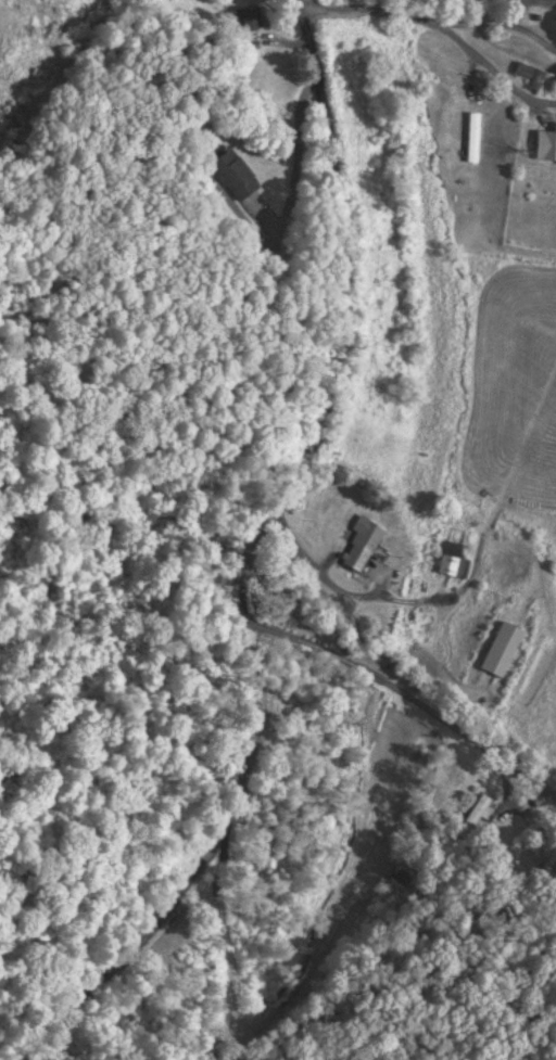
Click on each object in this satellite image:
road: (522, 1)
road: (430, 16)
building: (253, 18)
road: (480, 61)
building: (532, 76)
building: (475, 138)
building: (546, 145)
road: (295, 162)
building: (237, 176)
building: (364, 544)
road: (245, 553)
building: (454, 562)
road: (316, 563)
building: (504, 651)
road: (389, 682)
building: (472, 817)

